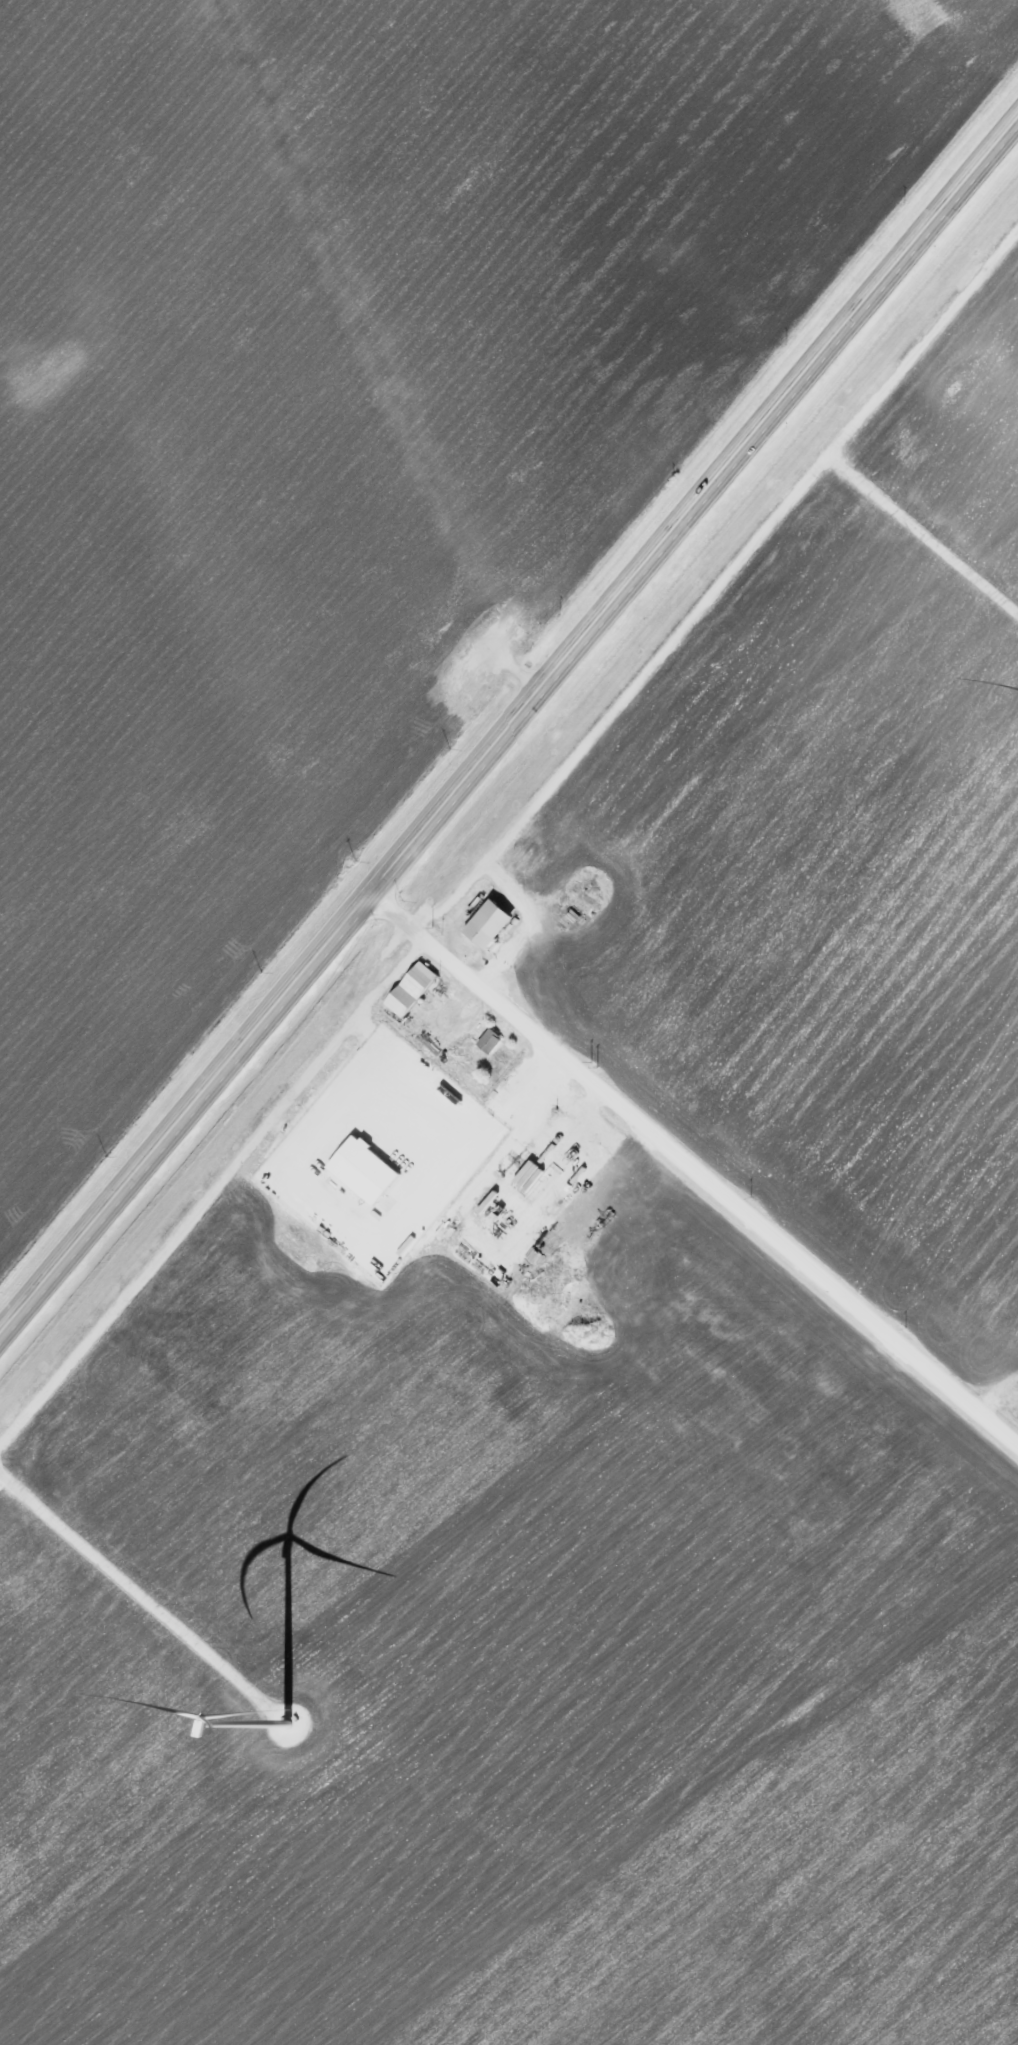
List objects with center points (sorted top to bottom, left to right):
road: (383, 352)
road: (781, 416)
railway: (509, 812)
building: (486, 930)
building: (412, 990)
road: (272, 1027)
building: (490, 1041)
road: (694, 1190)
wind turbine: (287, 1732)

